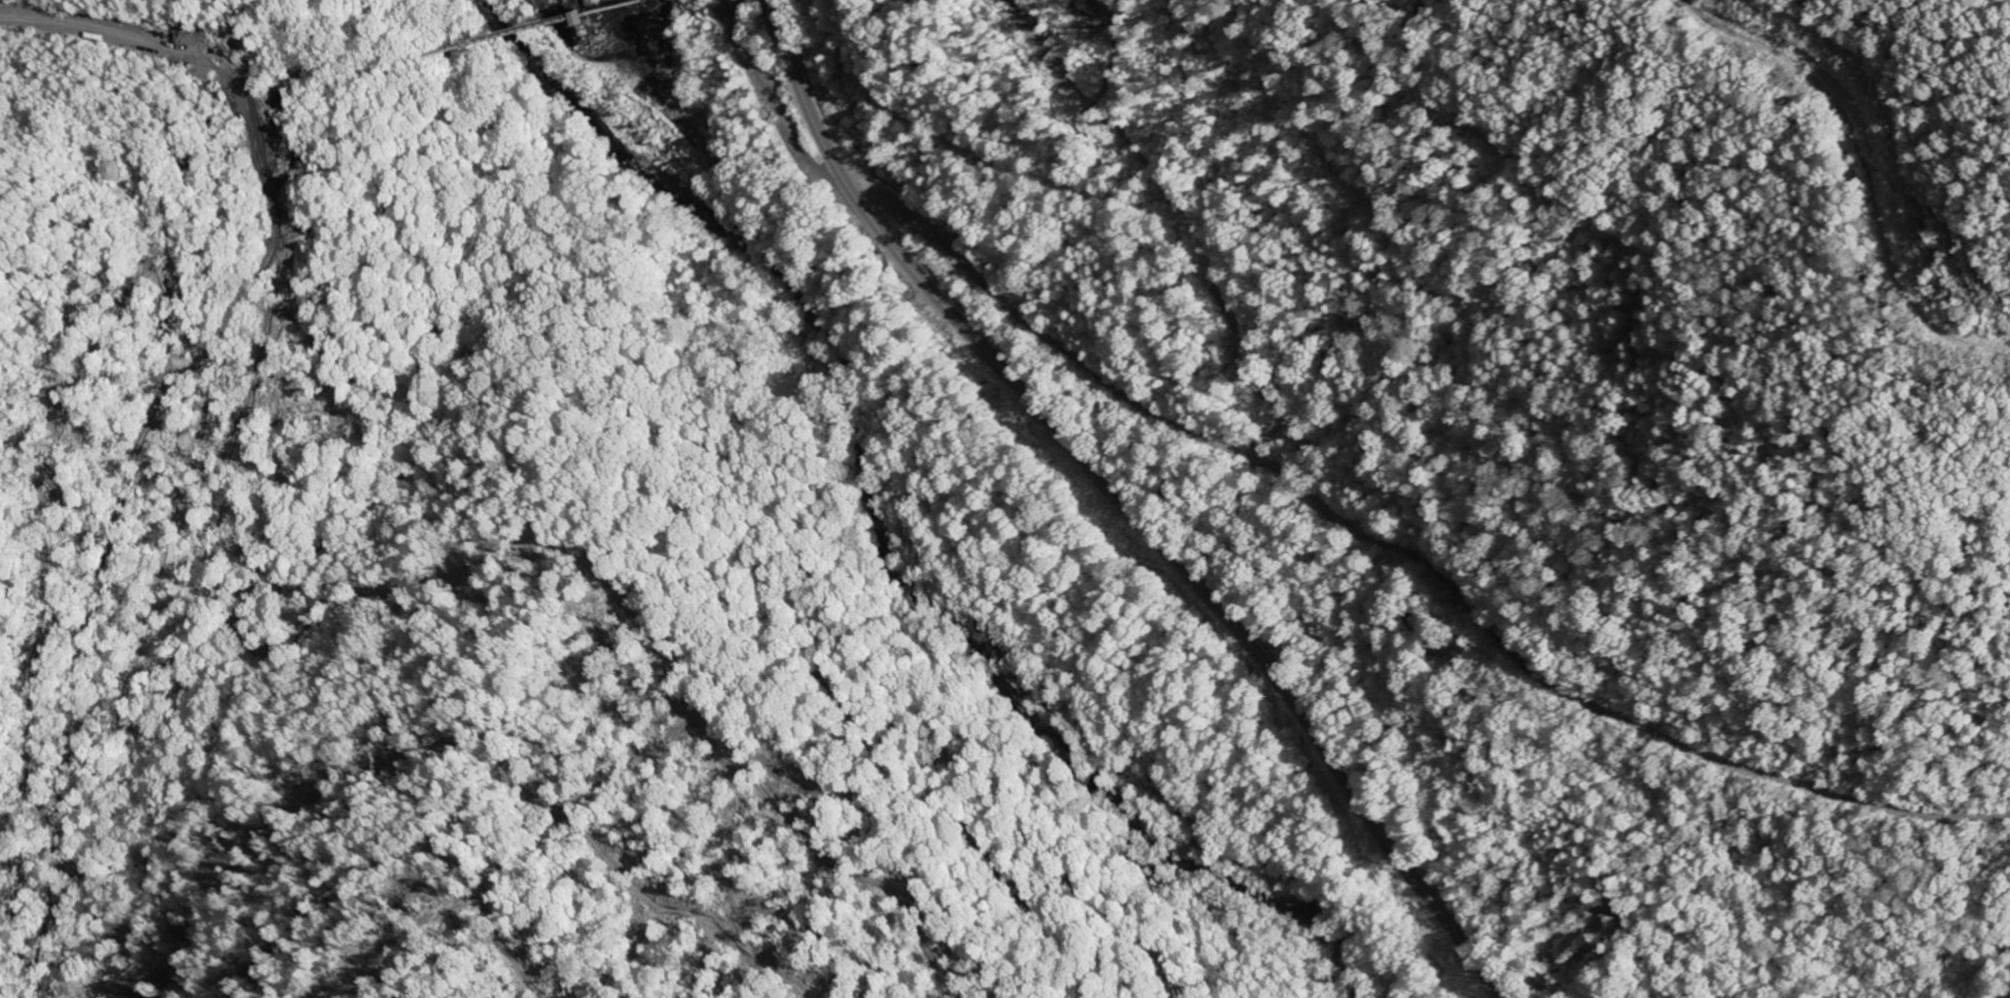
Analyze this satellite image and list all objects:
road: (757, 107)
building: (100, 171)
road: (1126, 504)

